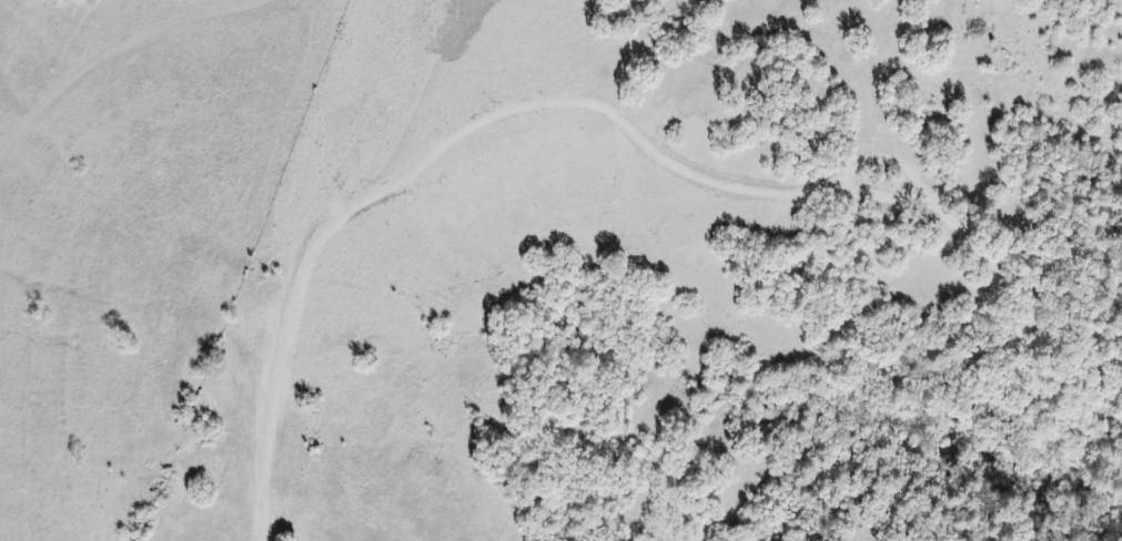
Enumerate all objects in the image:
road: (119, 43)

